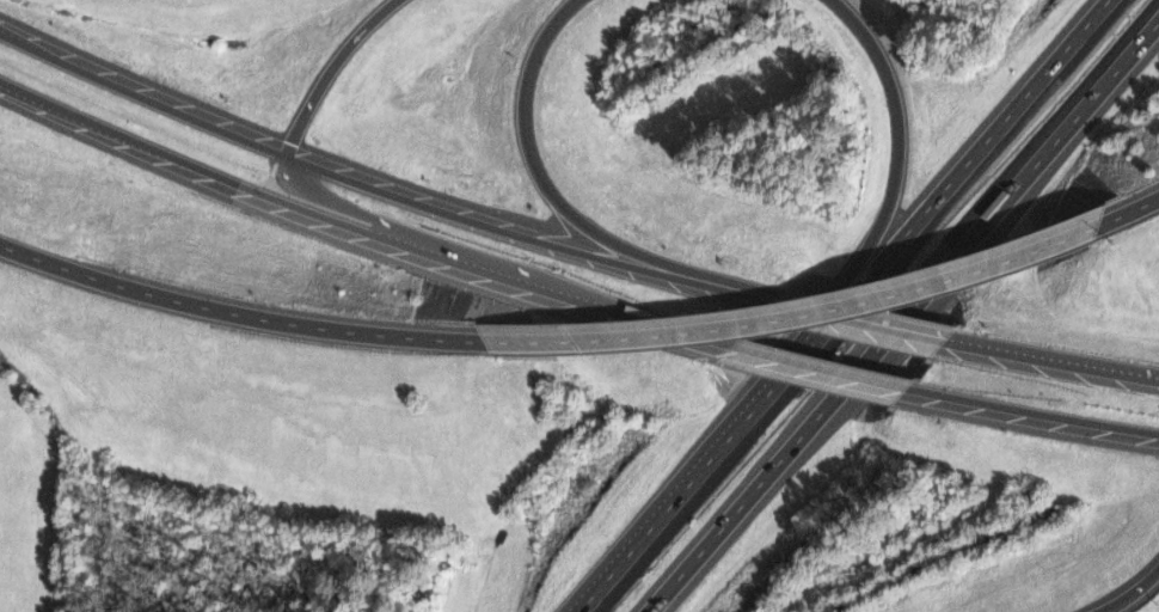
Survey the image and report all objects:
road: (336, 69)
road: (145, 93)
road: (956, 171)
road: (895, 173)
road: (551, 184)
road: (1007, 196)
road: (1133, 214)
road: (503, 228)
road: (360, 229)
road: (437, 238)
road: (747, 295)
road: (245, 310)
road: (810, 313)
road: (860, 323)
road: (1053, 365)
road: (820, 369)
road: (1032, 415)
road: (692, 477)
road: (753, 491)
road: (1133, 595)

